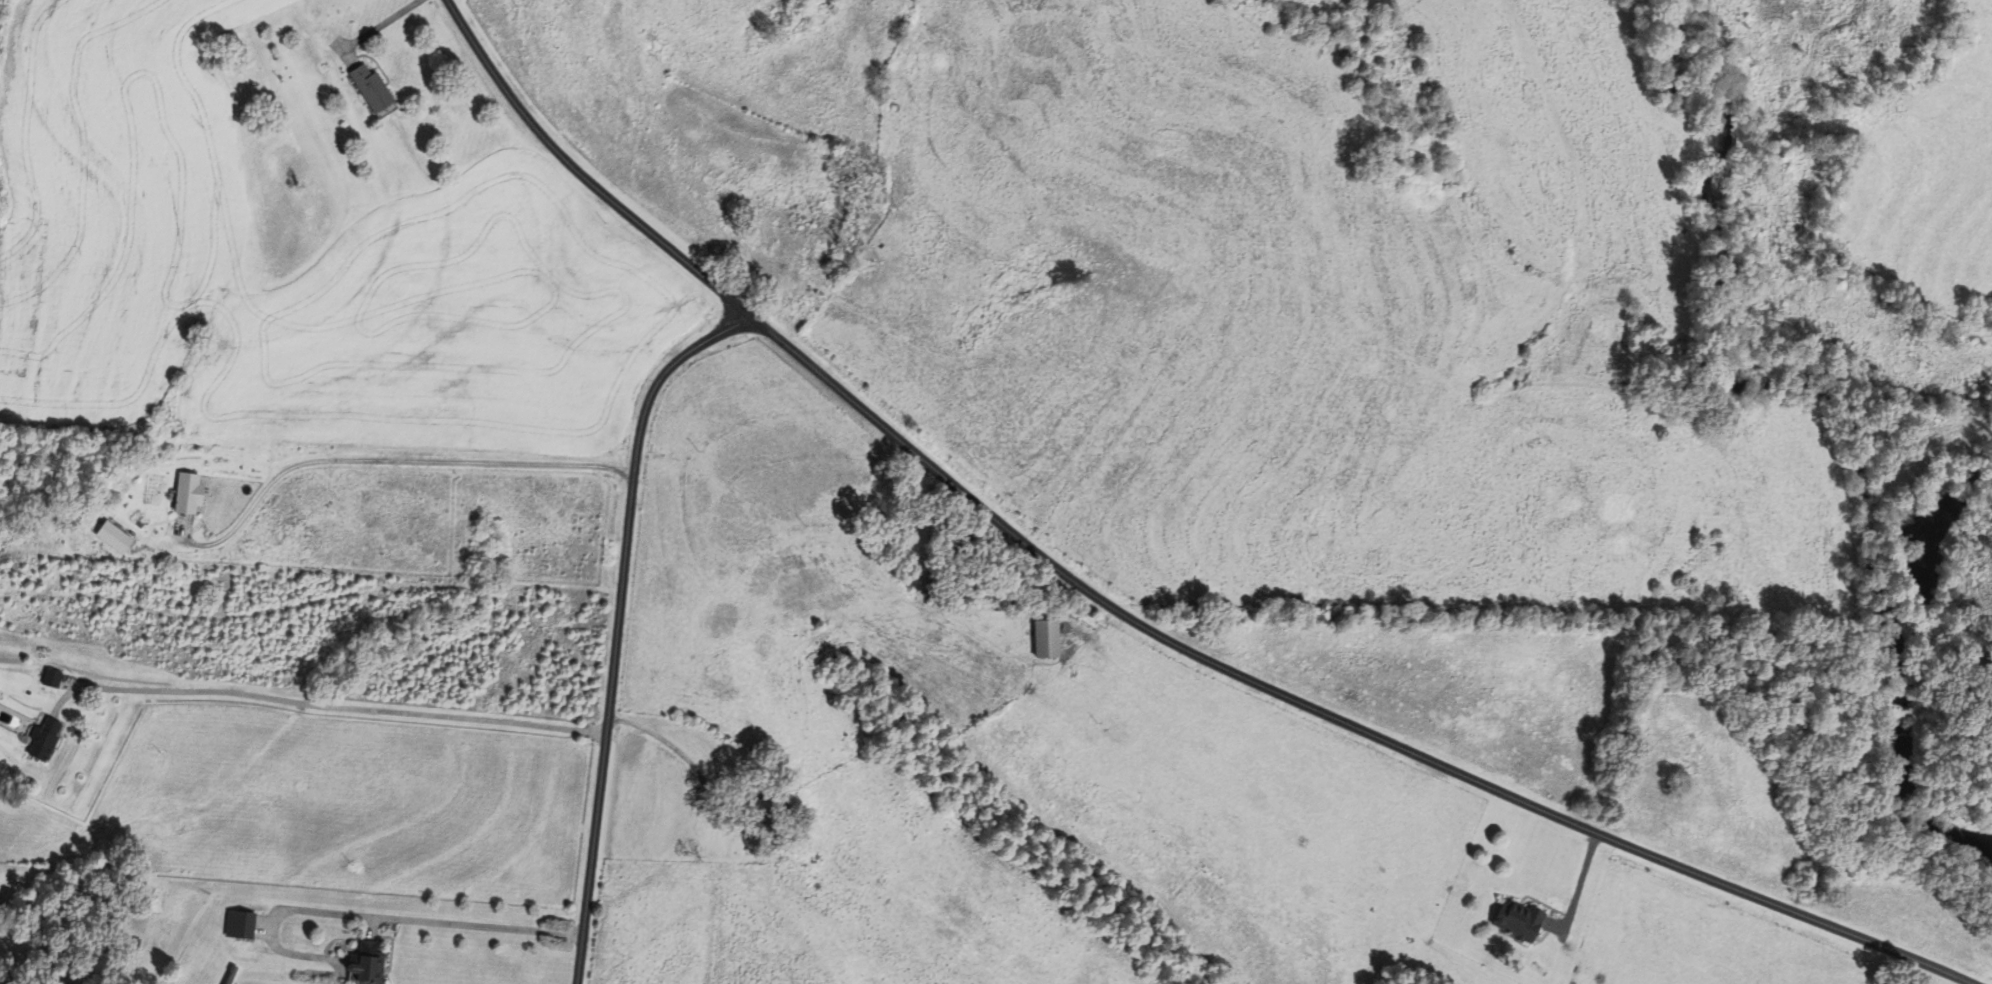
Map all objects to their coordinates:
road: (379, 25)
building: (370, 89)
road: (581, 174)
building: (772, 241)
road: (392, 459)
building: (187, 493)
road: (618, 624)
building: (1045, 640)
building: (50, 679)
road: (325, 705)
road: (1323, 712)
building: (42, 740)
road: (686, 757)
building: (753, 815)
road: (1578, 889)
building: (156, 900)
building: (1516, 920)
building: (239, 924)
road: (470, 924)
building: (366, 963)

